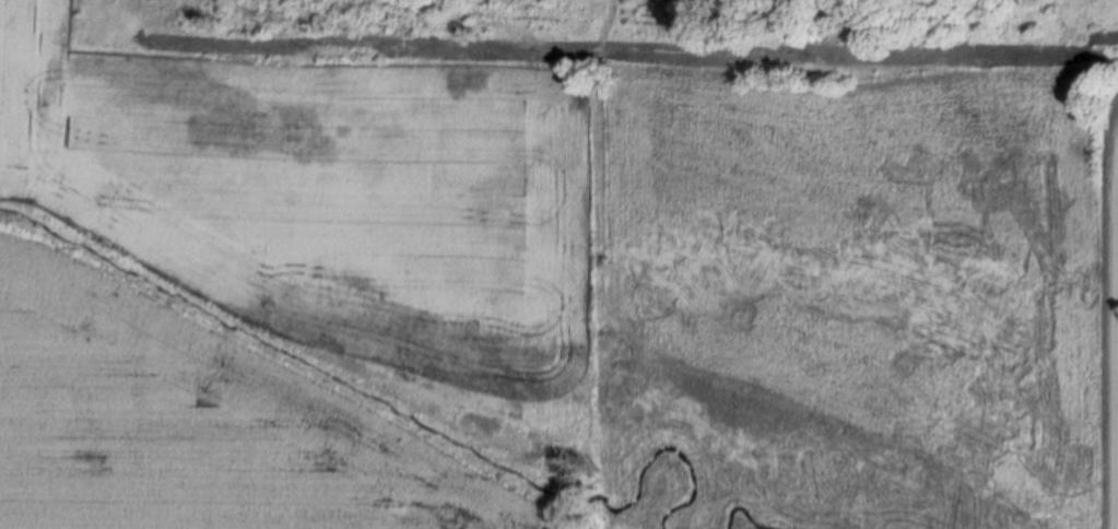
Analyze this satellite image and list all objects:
road: (1116, 418)

